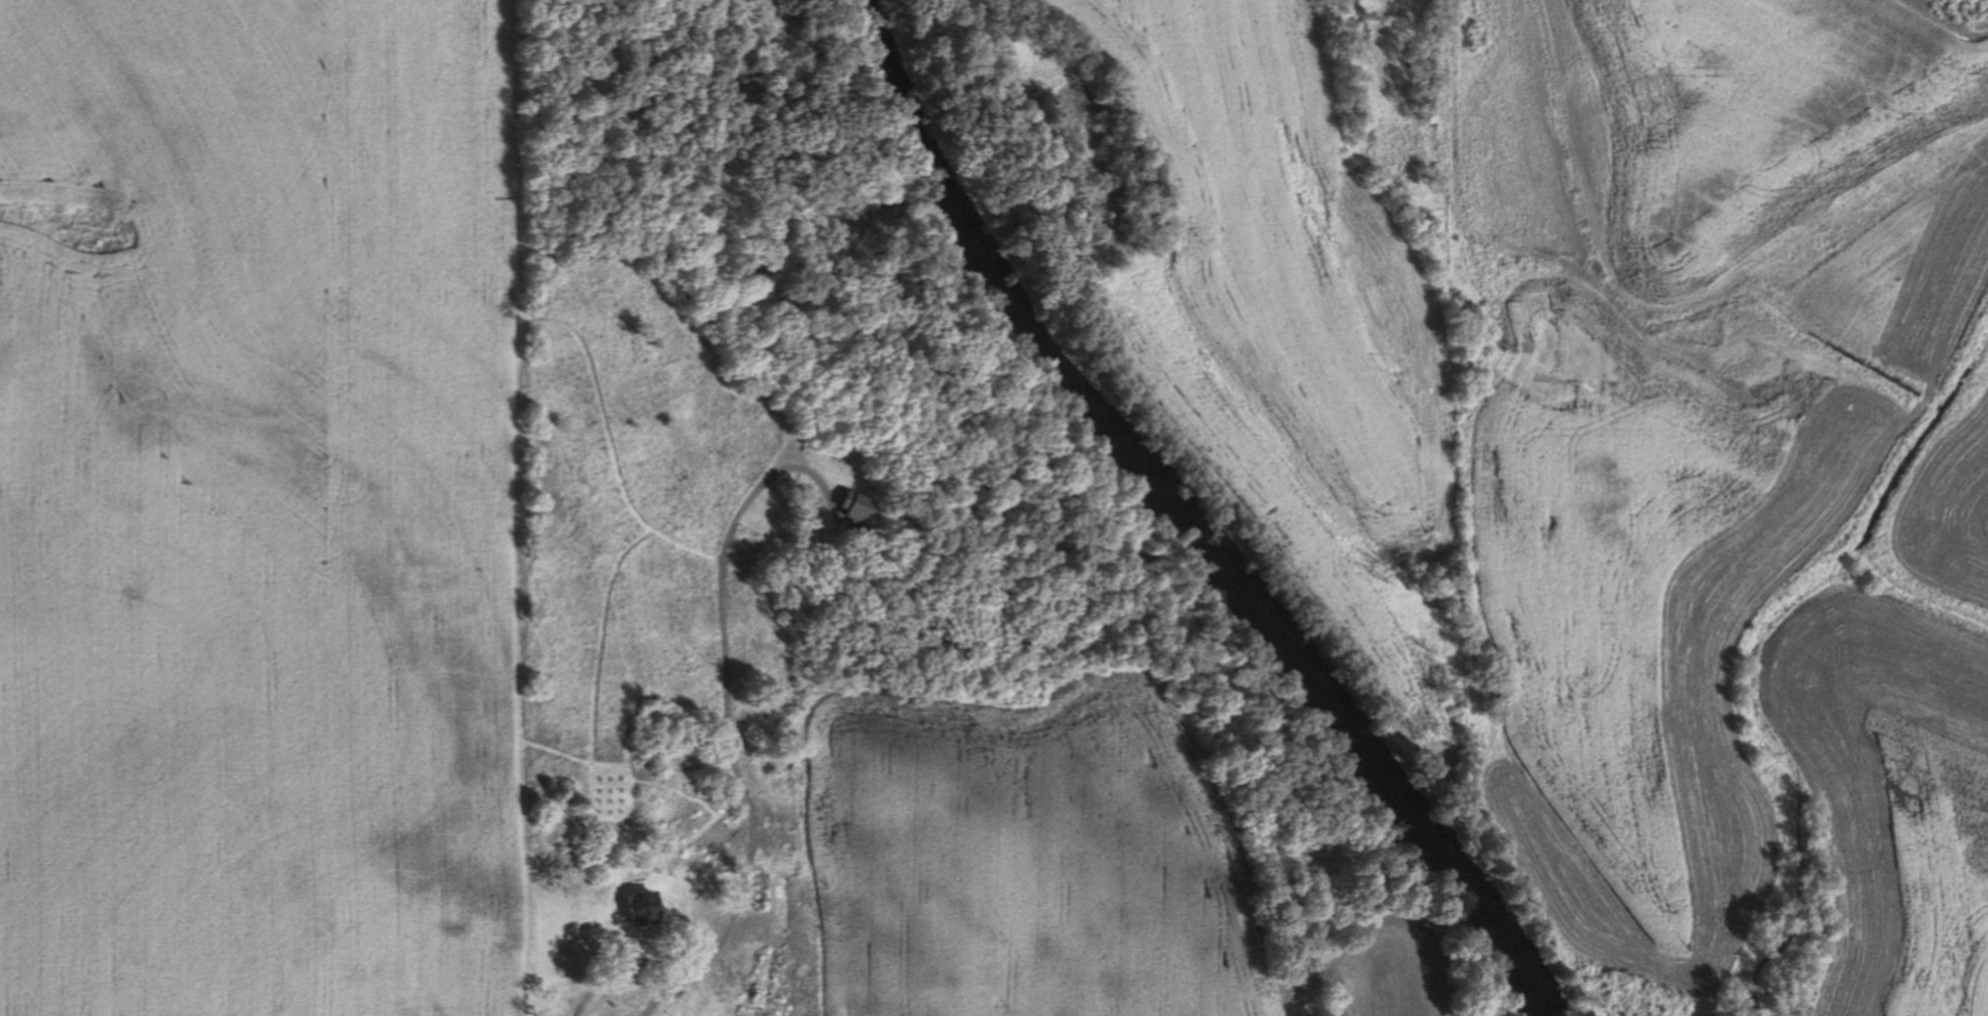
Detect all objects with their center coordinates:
building: (848, 517)
river: (1158, 521)
road: (729, 713)
building: (633, 908)

